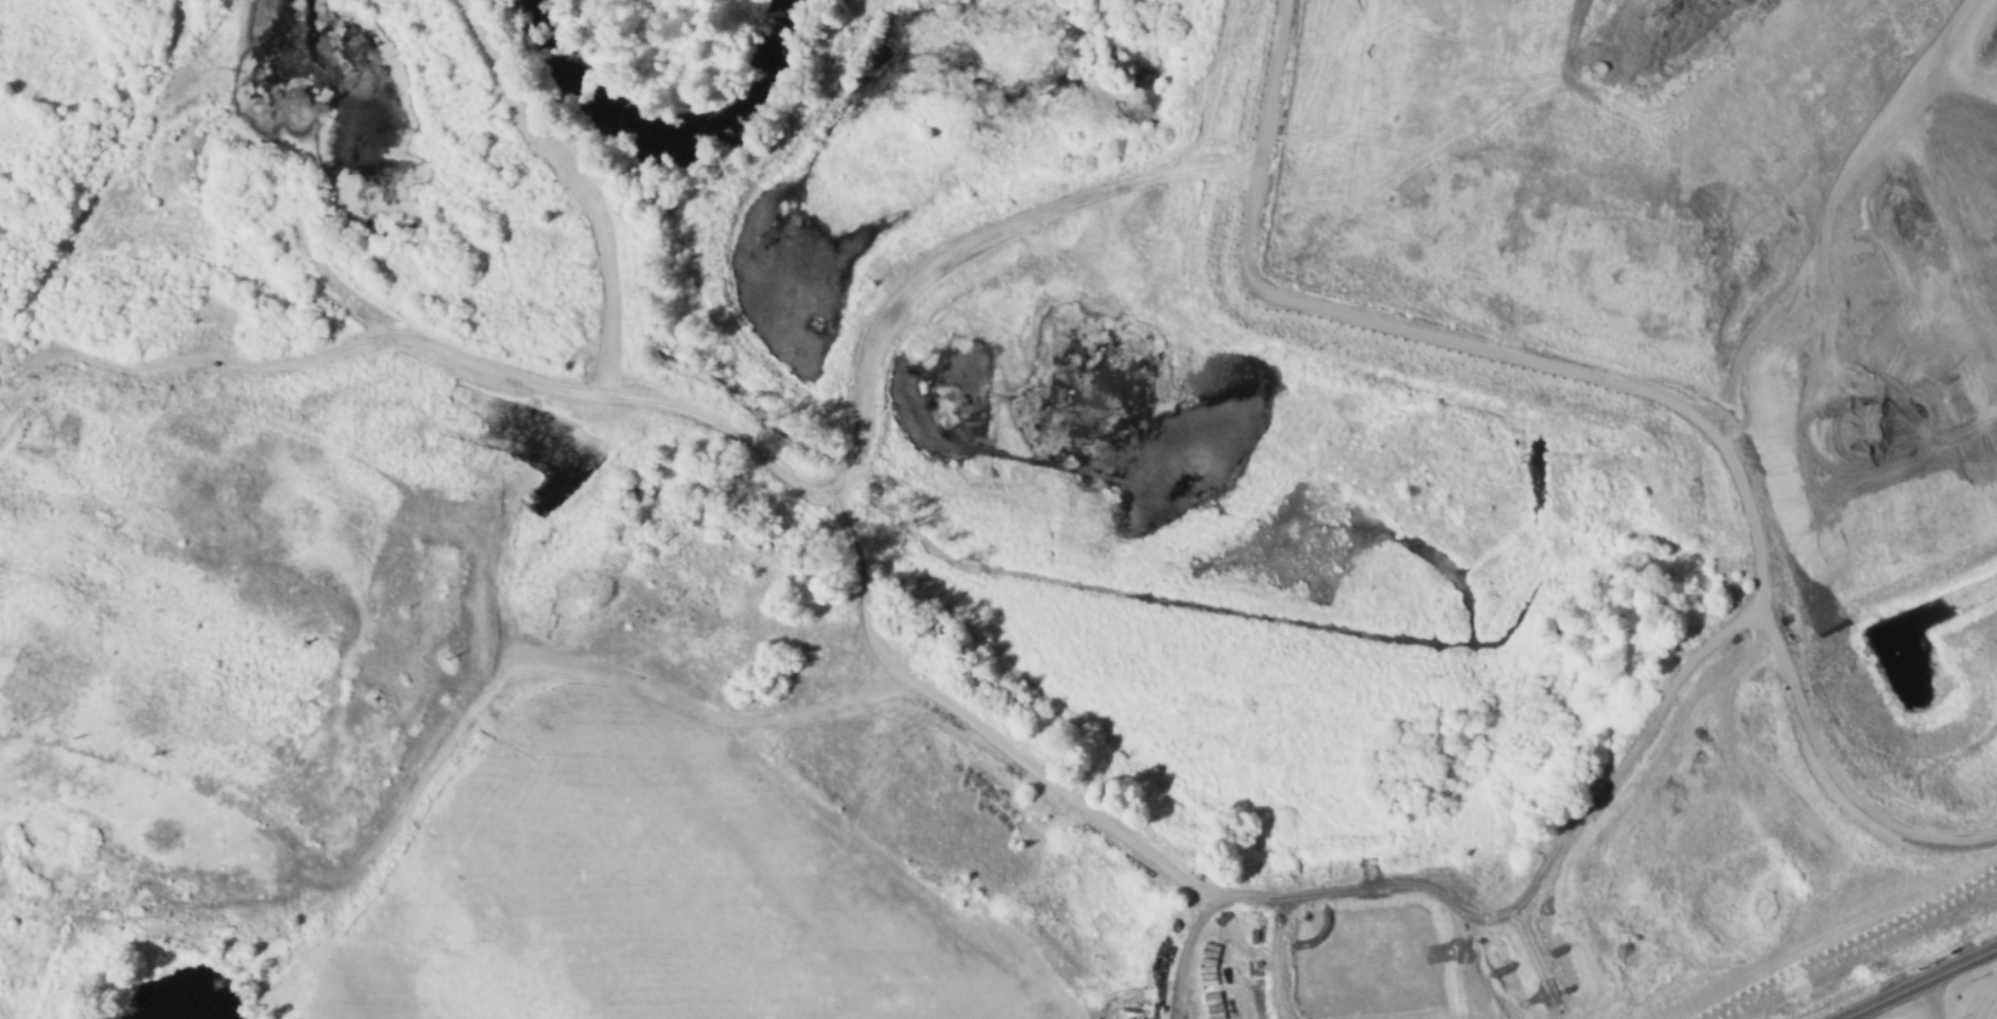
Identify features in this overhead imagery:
road: (1274, 65)
river: (746, 71)
river: (590, 84)
road: (1848, 228)
road: (805, 485)
landfill: (1856, 503)
road: (1749, 603)
road: (969, 735)
road: (1828, 778)
road: (1918, 983)
crop: (1980, 997)
road: (1930, 999)
crop: (1904, 1013)

